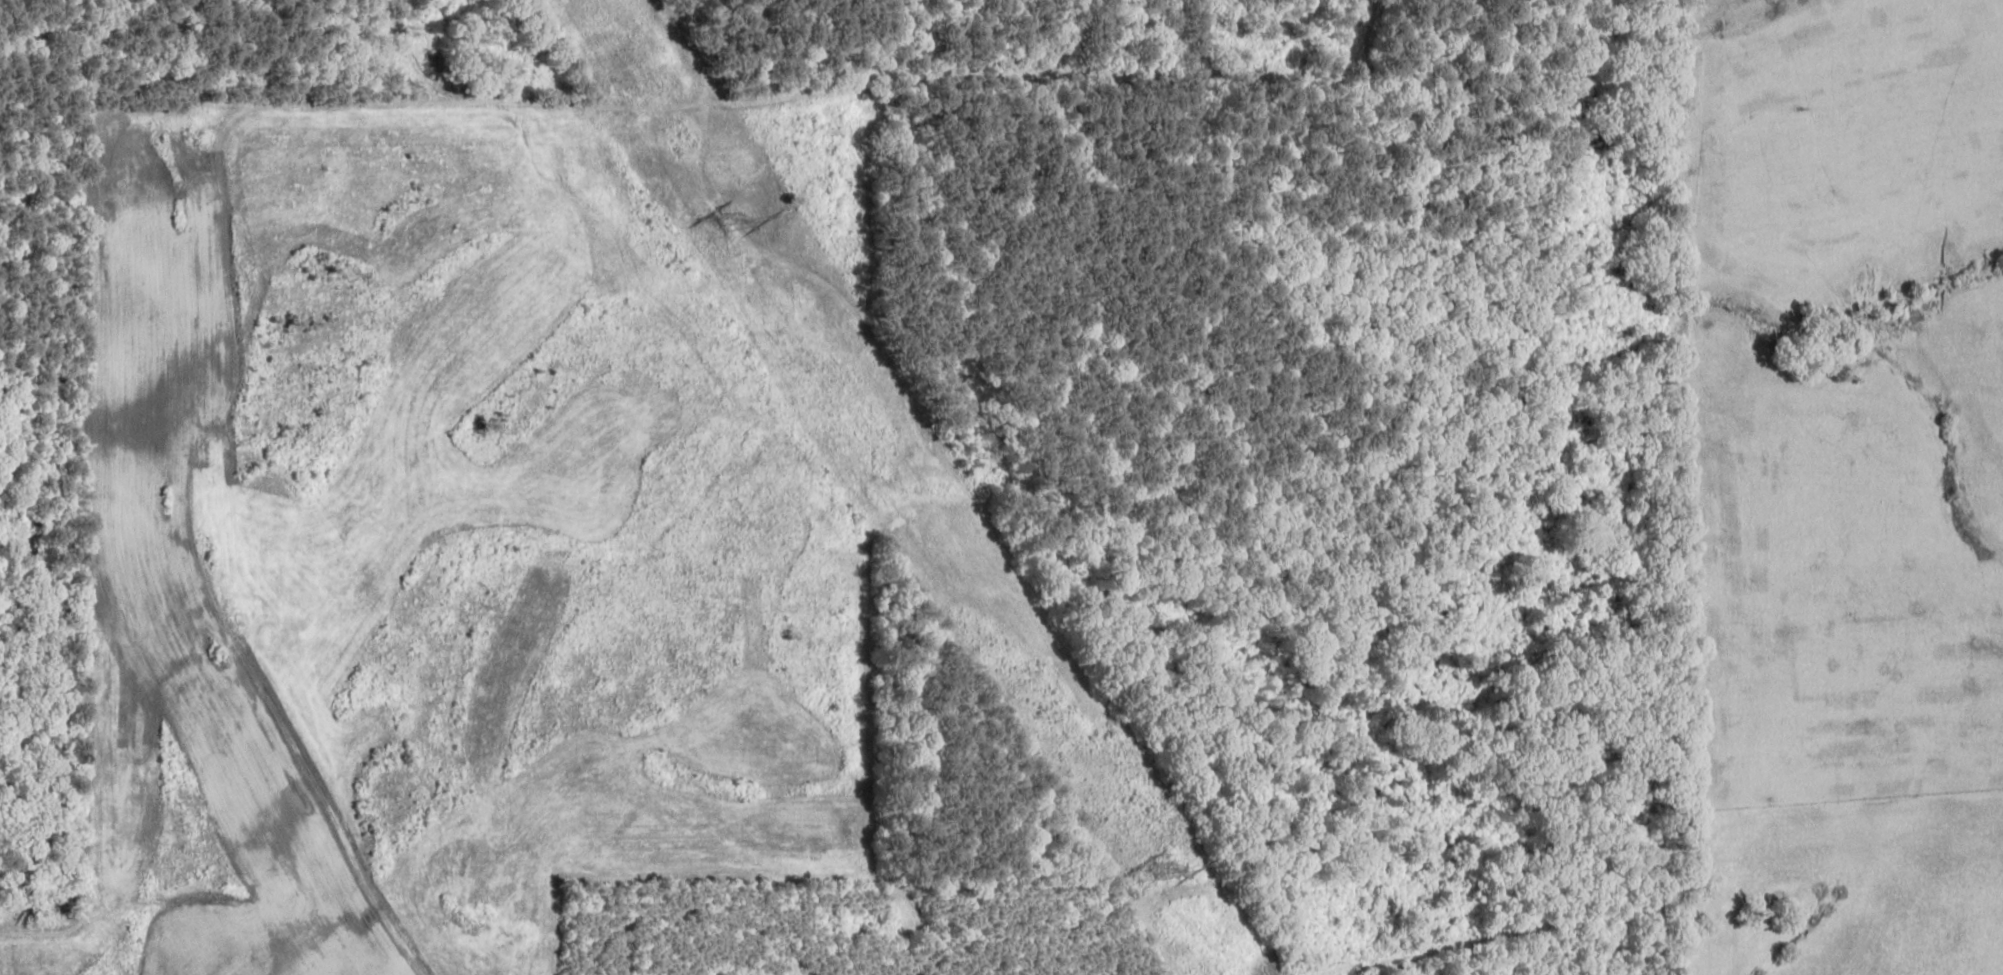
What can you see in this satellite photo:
power tower: (735, 220)
power tower: (1168, 873)

